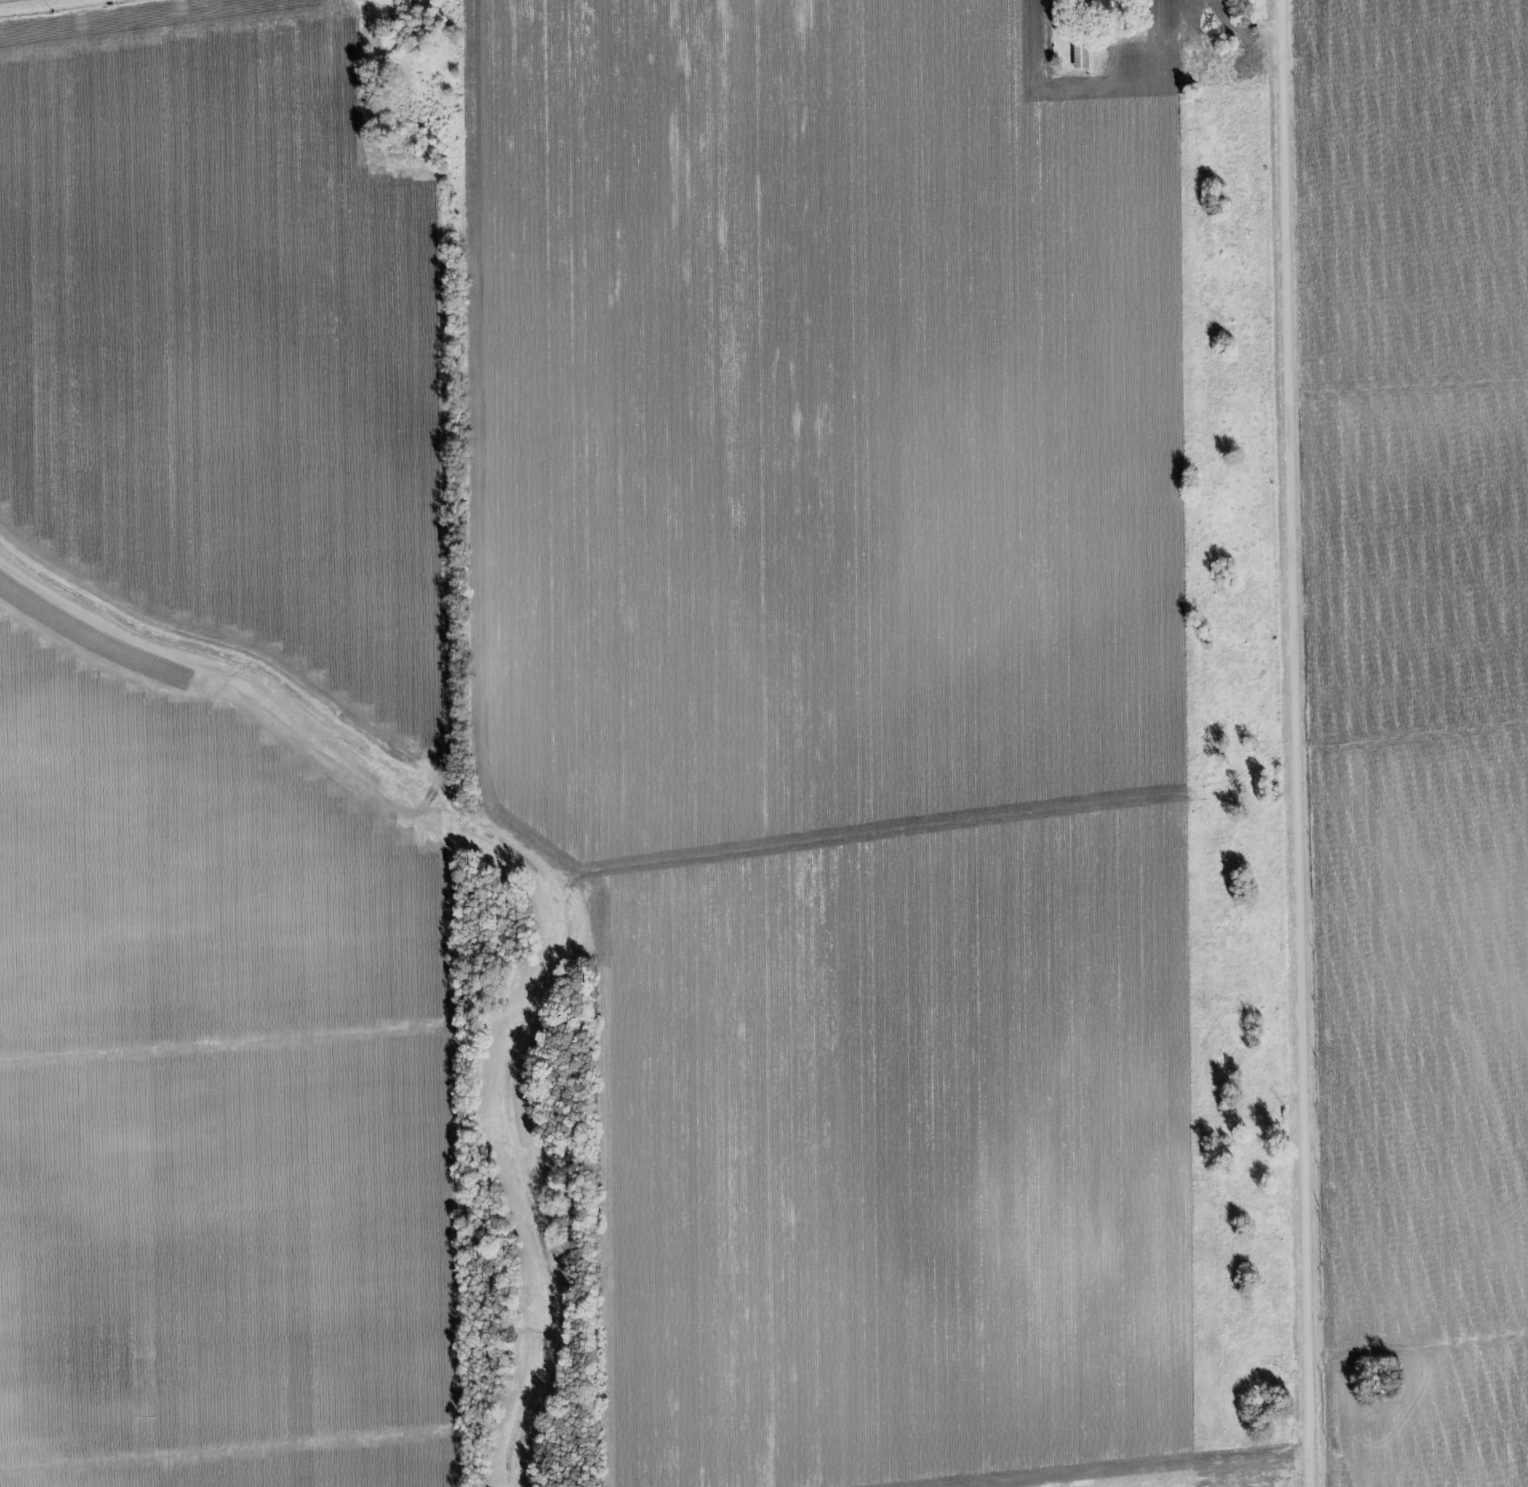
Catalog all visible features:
road: (1302, 743)

